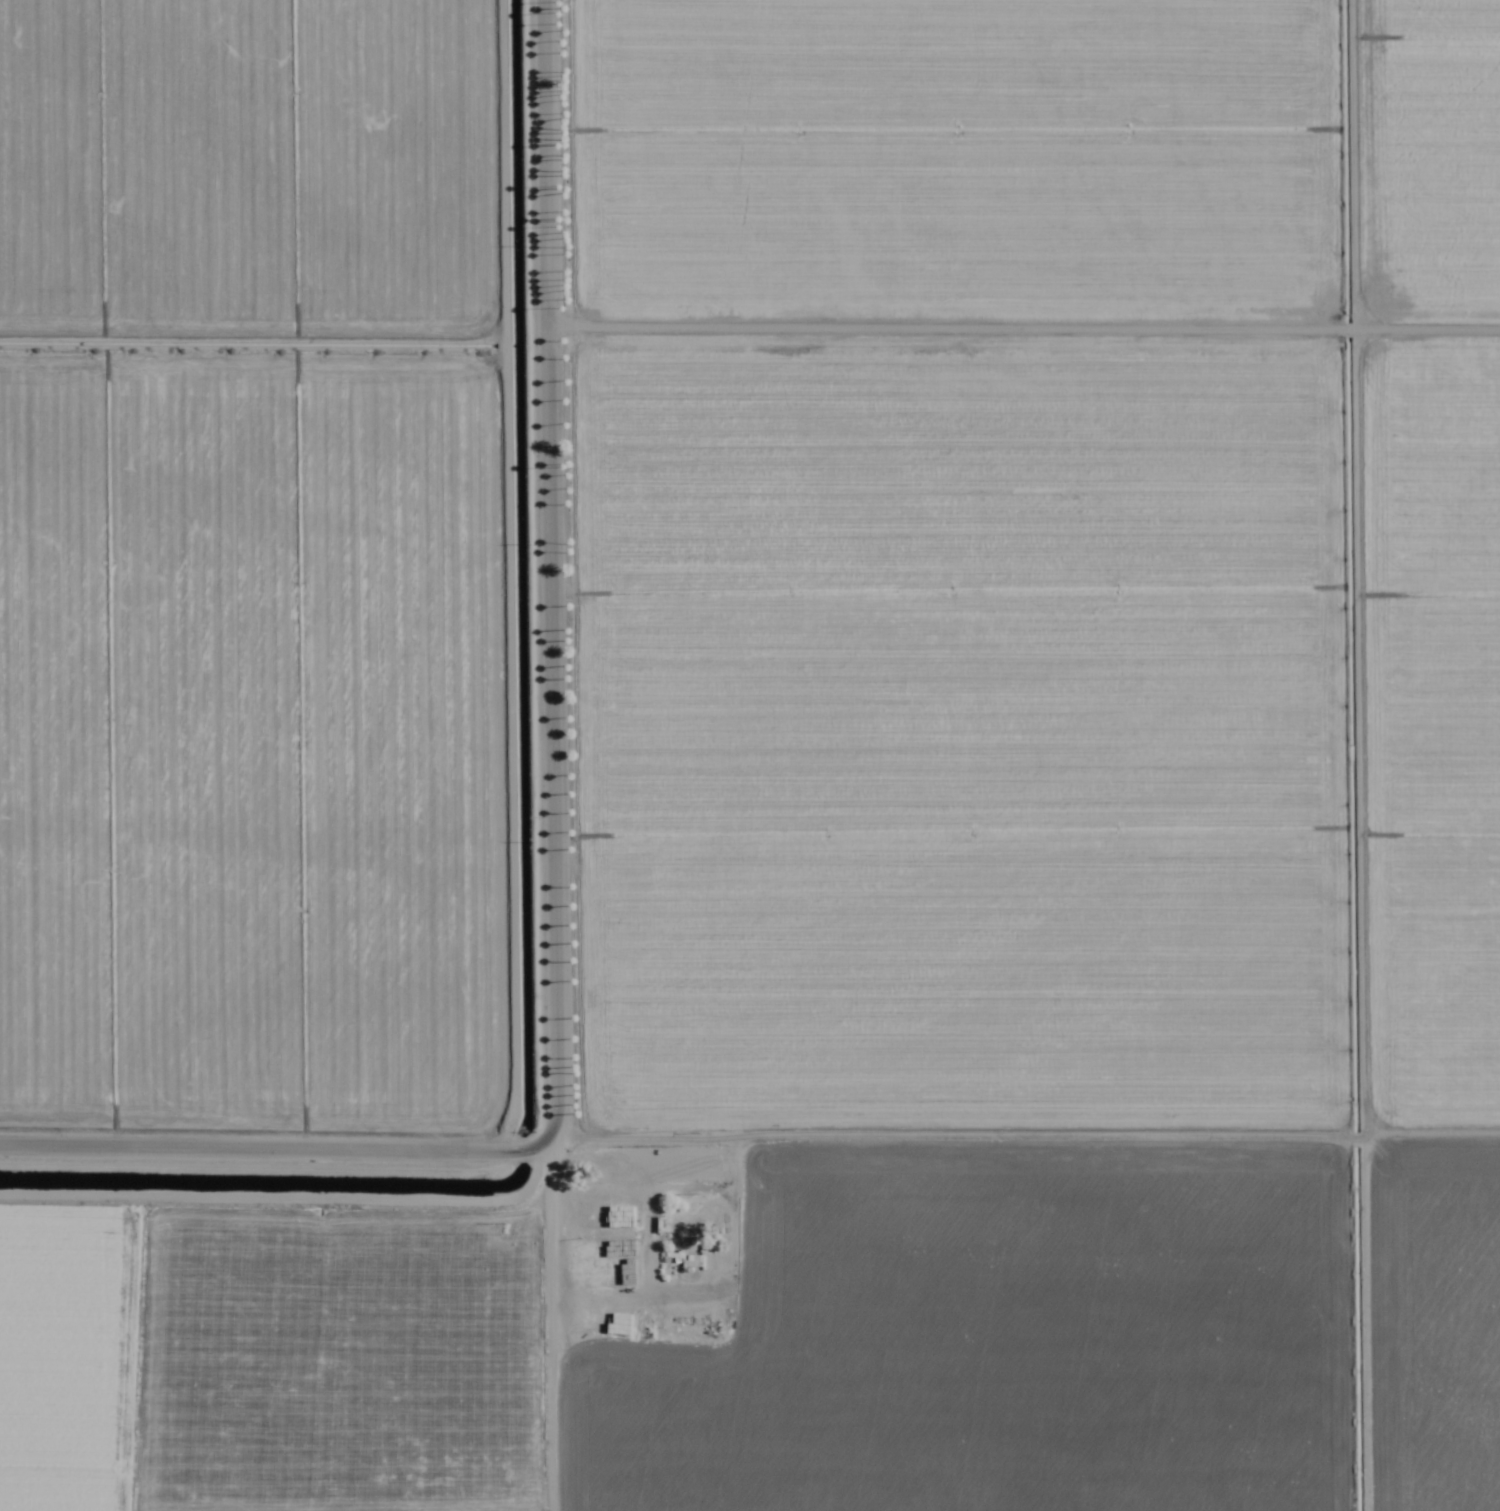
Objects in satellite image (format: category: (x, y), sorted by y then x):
road: (547, 571)
crop: (750, 755)
road: (272, 1147)

